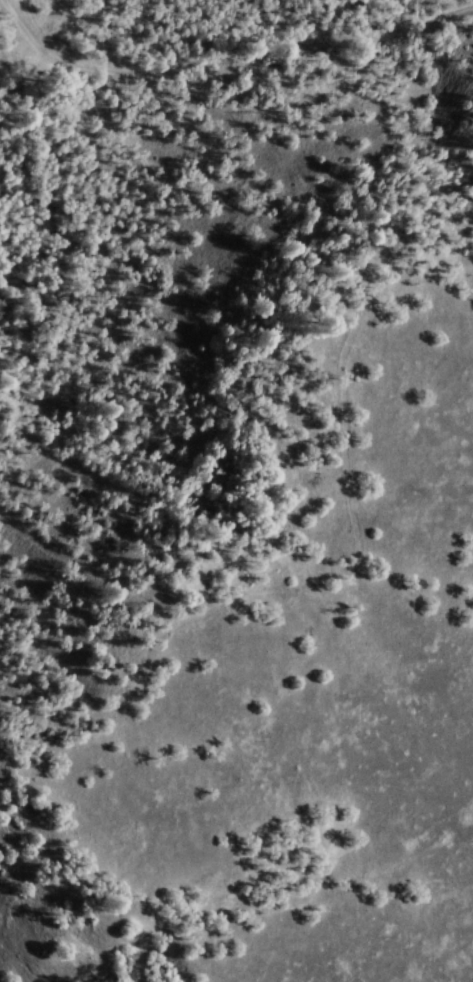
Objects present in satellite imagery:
road: (219, 65)

